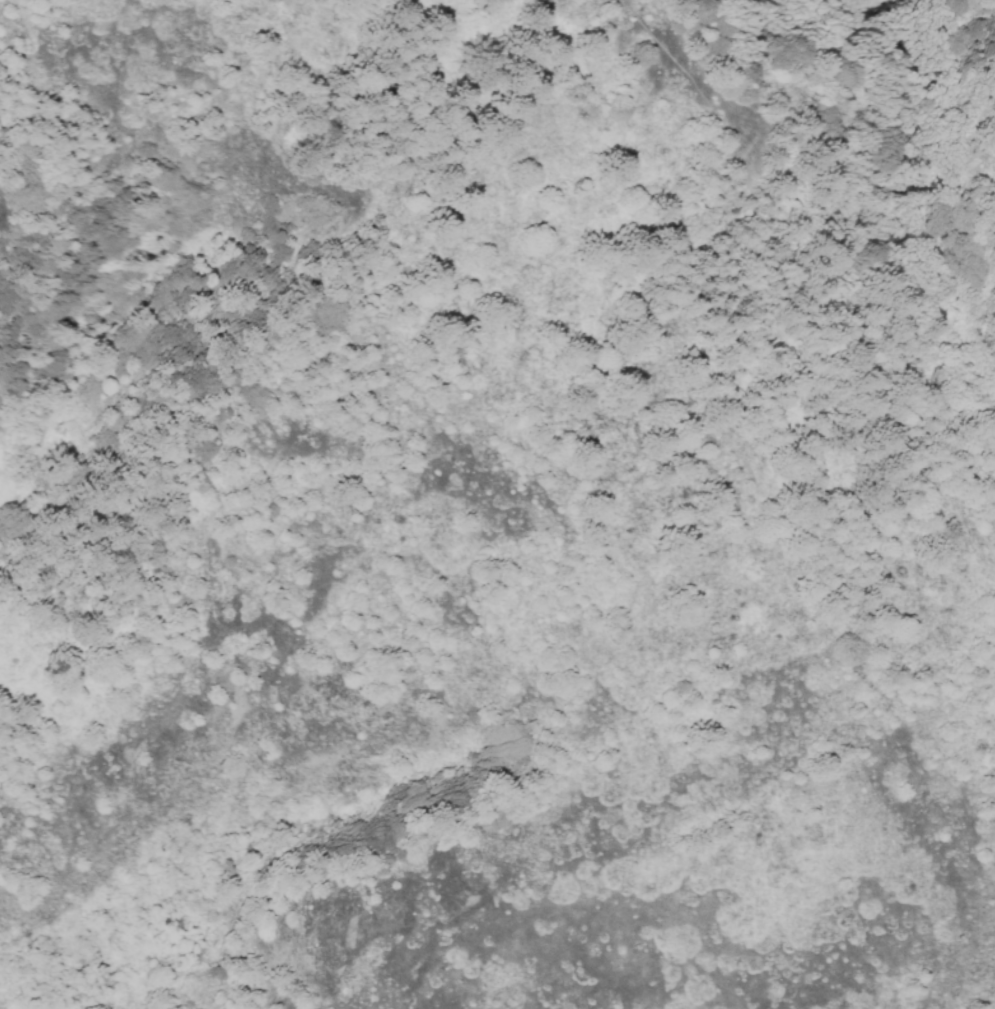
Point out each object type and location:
road: (929, 367)

